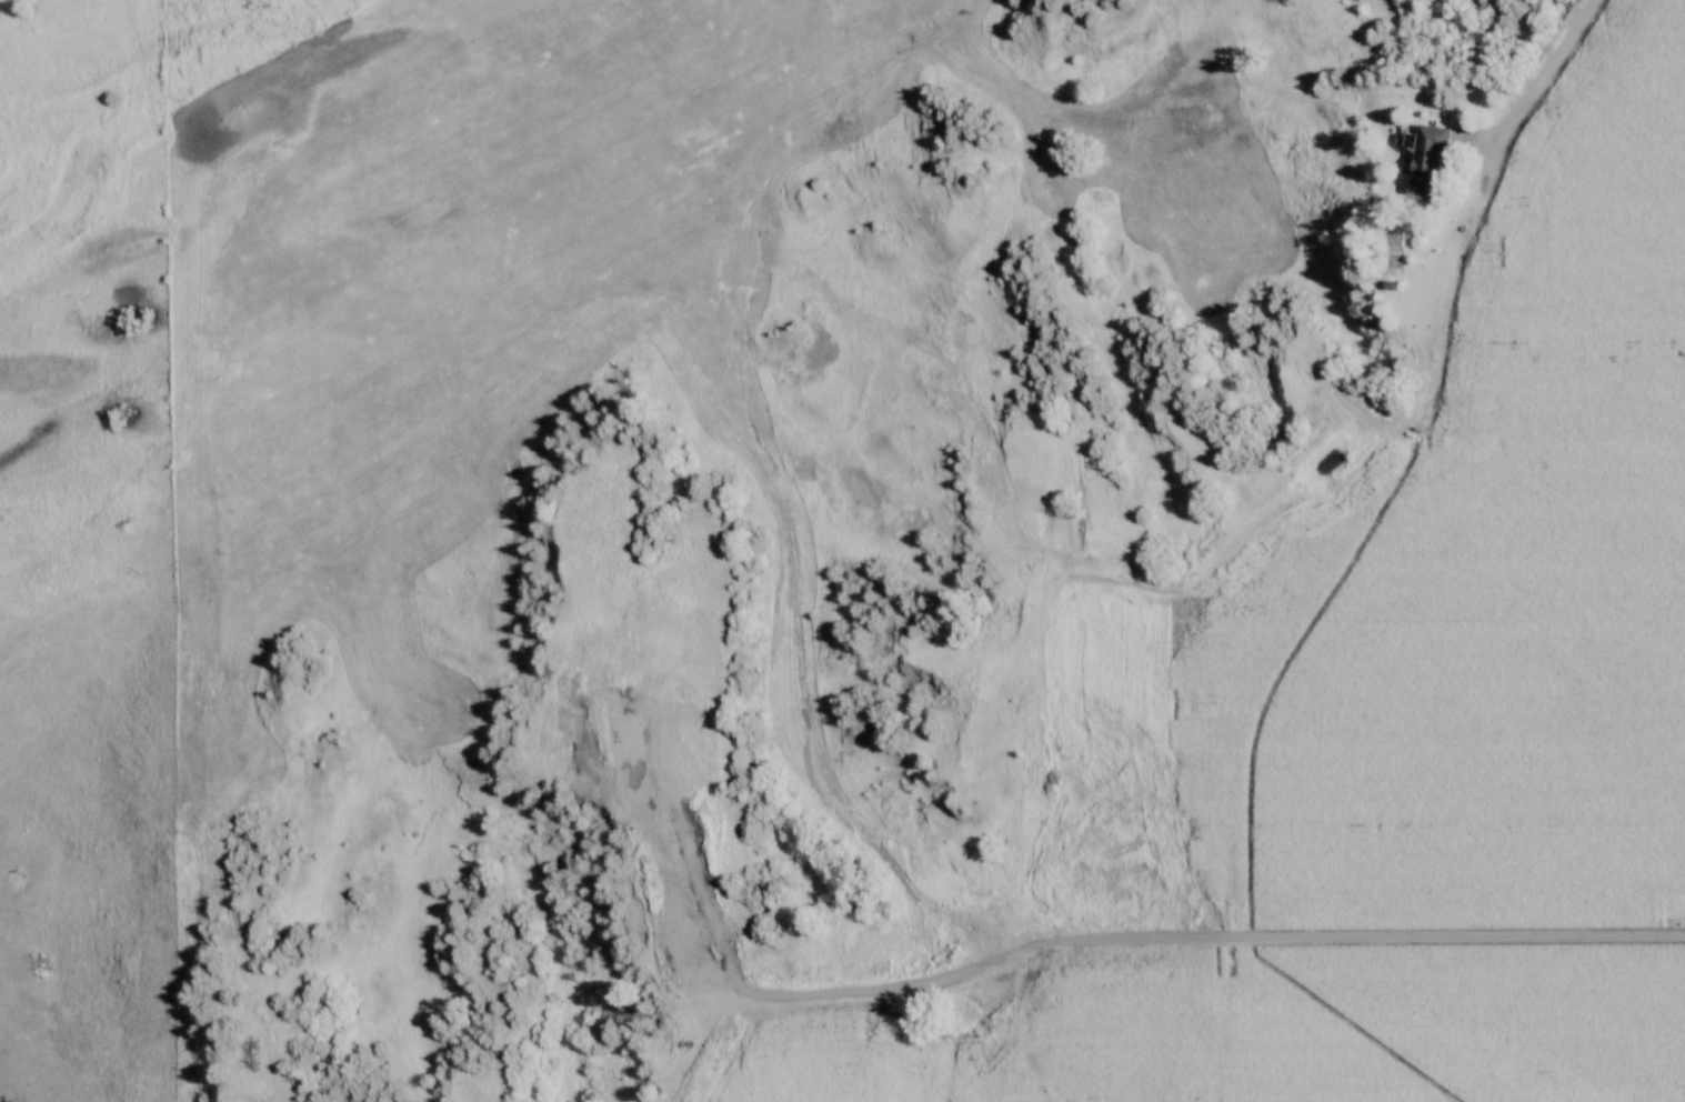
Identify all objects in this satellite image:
road: (1541, 79)
building: (1428, 160)

